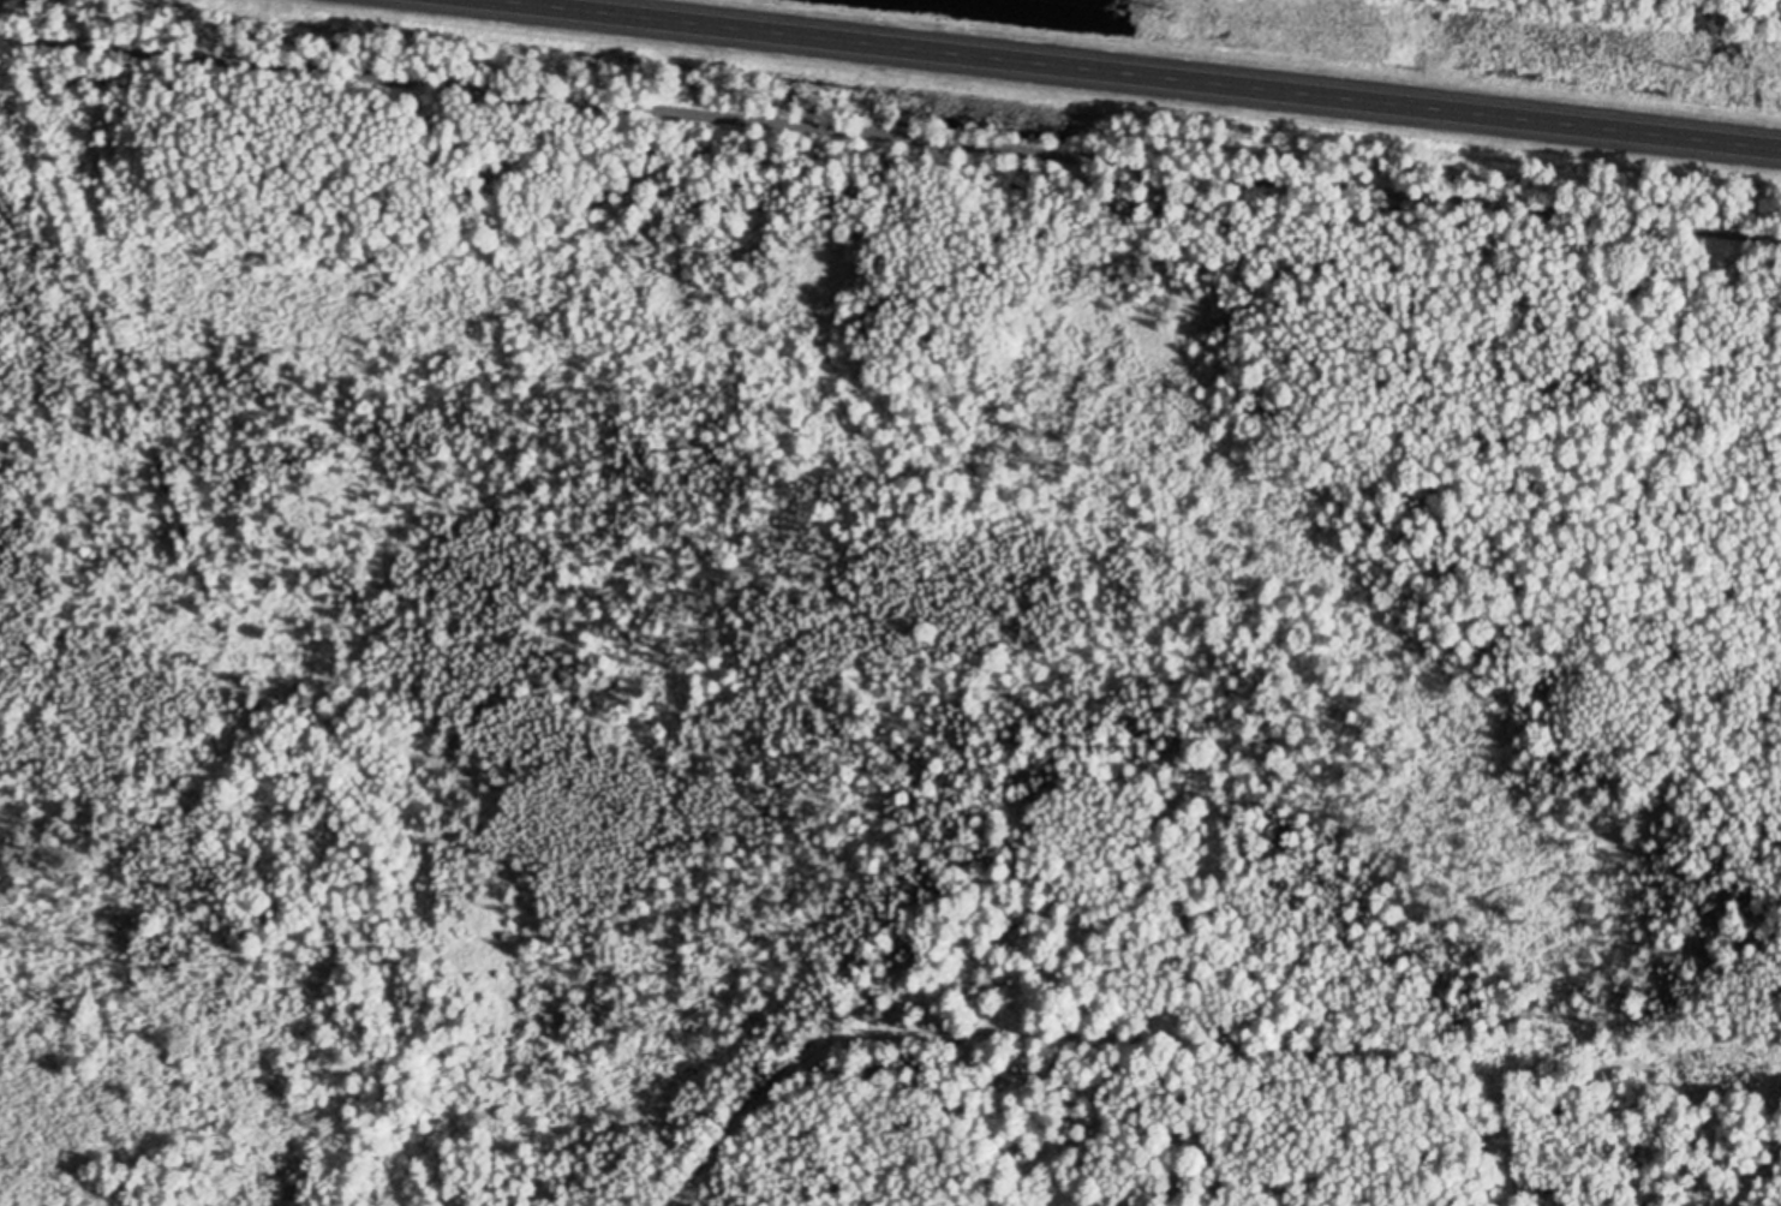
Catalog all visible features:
power tower: (1165, 2)
power tower: (1687, 61)
road: (1159, 71)
road: (890, 133)

